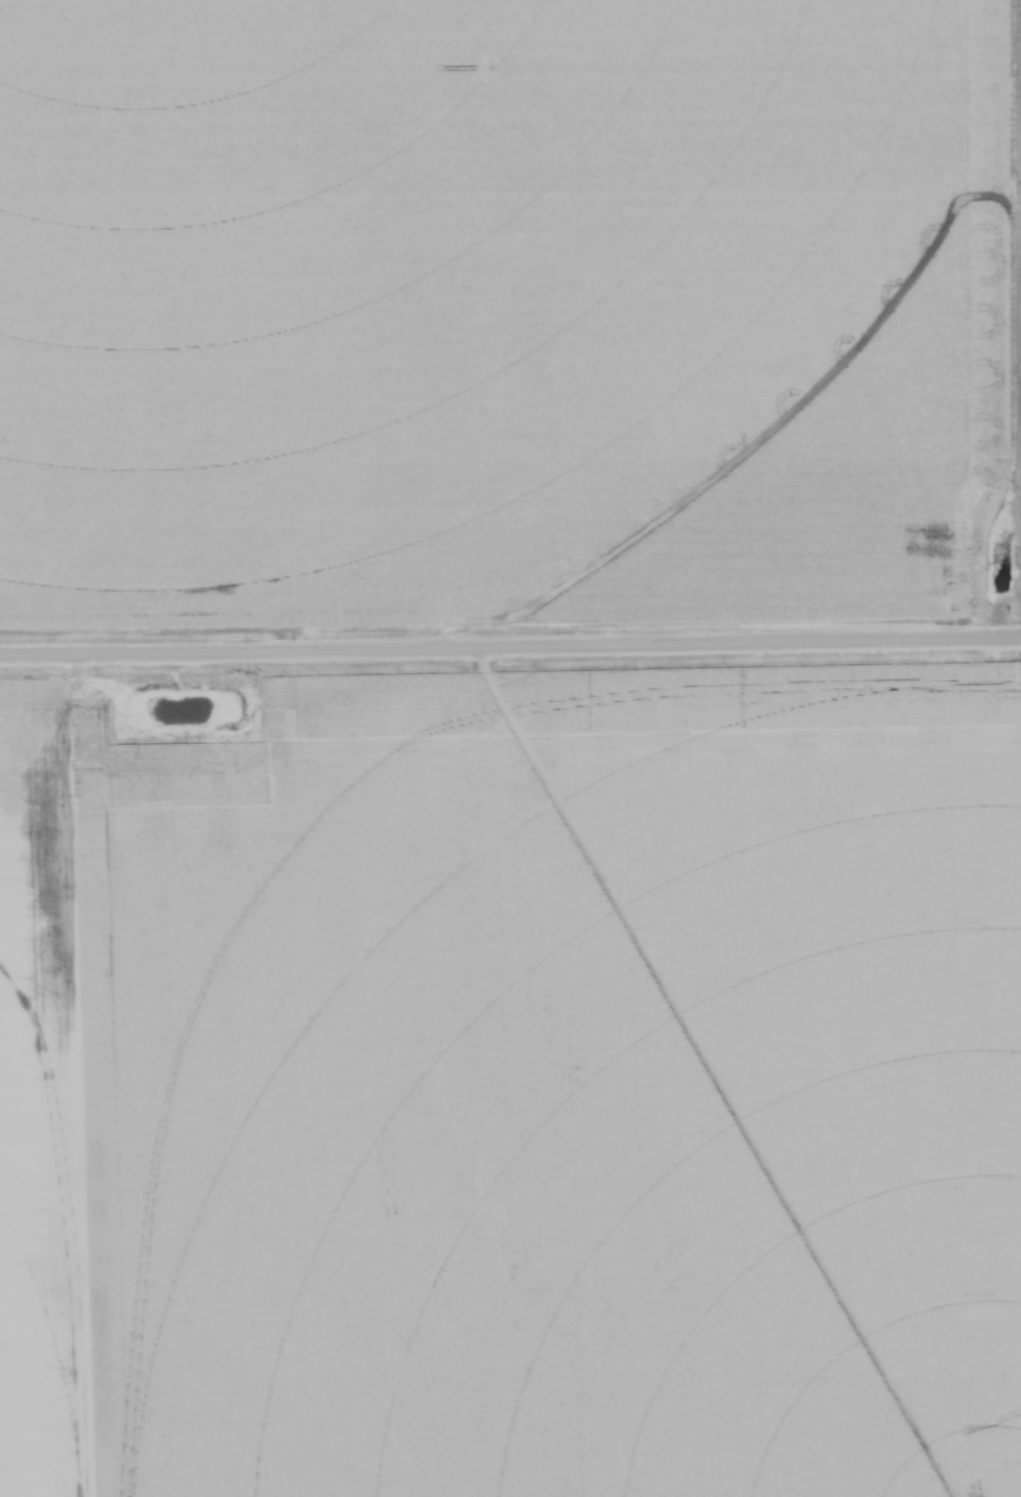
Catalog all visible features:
crop: (504, 306)
road: (510, 645)
crop: (518, 1090)

